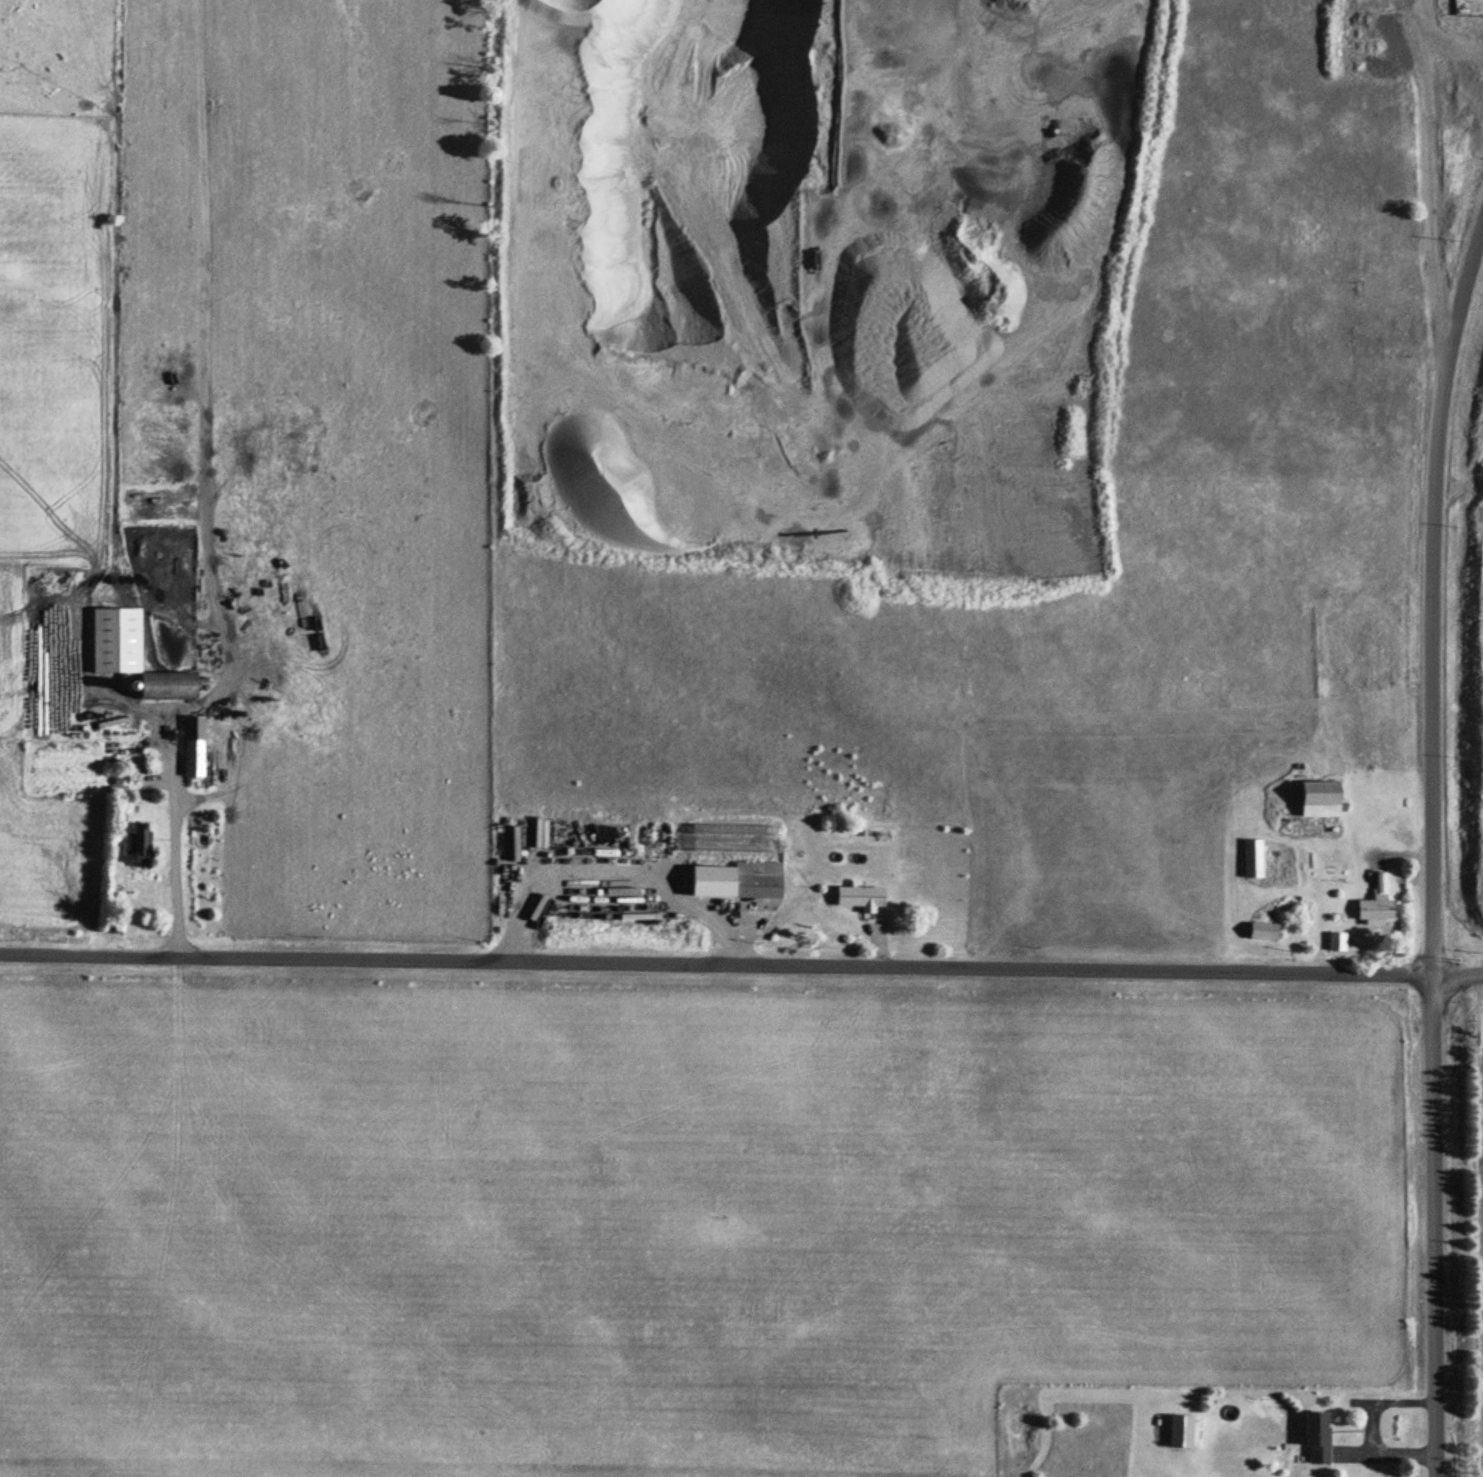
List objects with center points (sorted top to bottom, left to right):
road: (1421, 172)
quarry: (757, 217)
road: (1456, 486)
building: (134, 653)
quarry: (1471, 697)
building: (193, 743)
building: (1323, 796)
building: (807, 825)
road: (1430, 841)
building: (137, 842)
building: (685, 843)
building: (1253, 856)
road: (173, 863)
building: (758, 876)
building: (862, 894)
building: (1376, 907)
building: (1265, 929)
building: (1337, 939)
road: (715, 965)
road: (1457, 975)
road: (716, 981)
building: (1180, 1428)
building: (1317, 1435)

